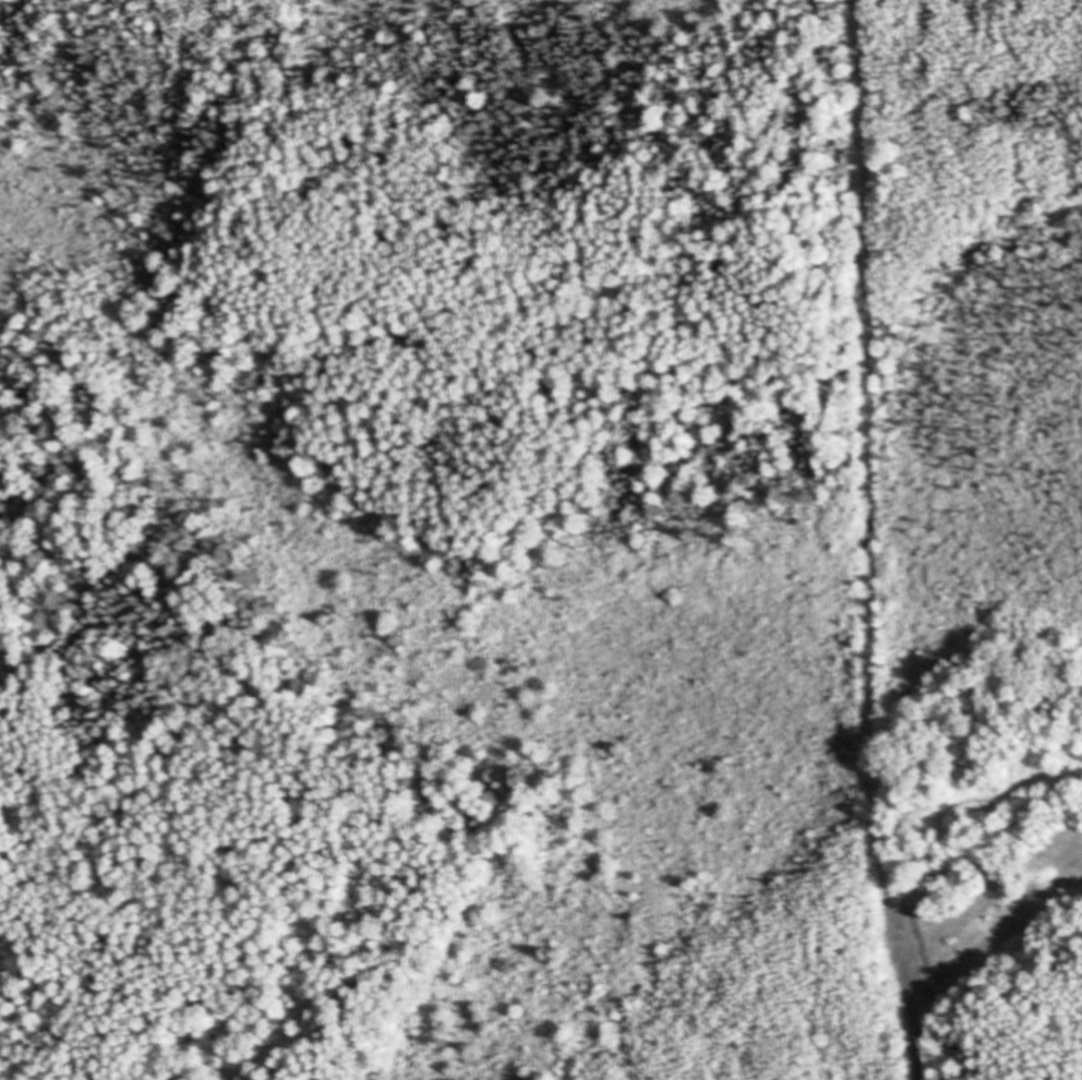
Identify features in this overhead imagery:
road: (874, 541)

